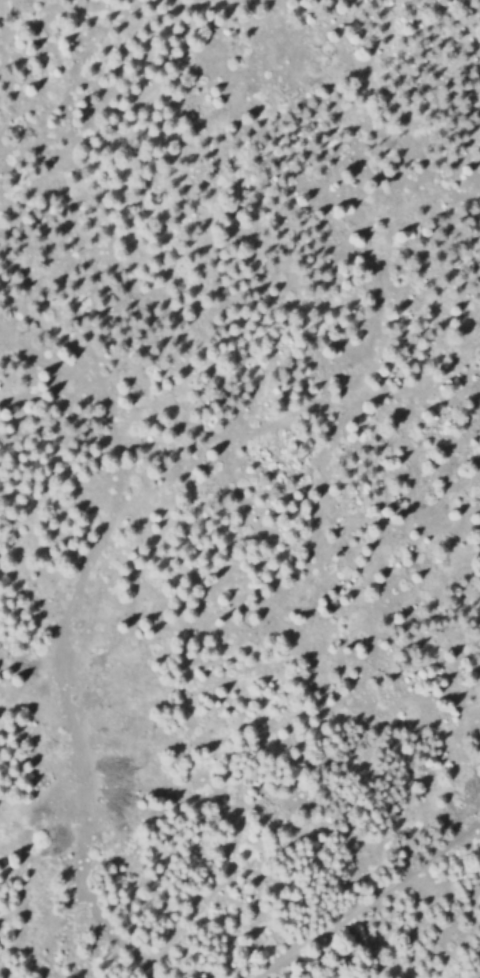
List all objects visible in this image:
road: (364, 899)

